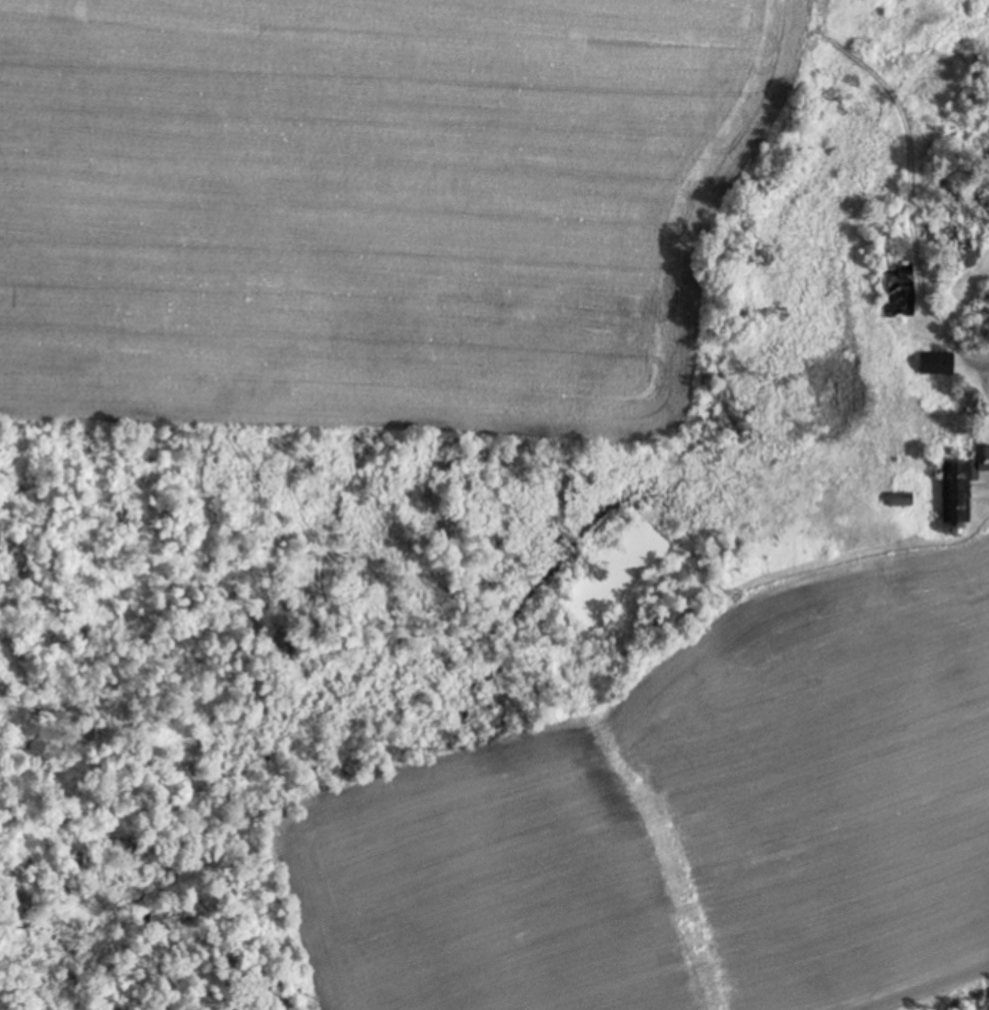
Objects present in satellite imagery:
building: (911, 289)
building: (939, 363)
road: (976, 413)
building: (985, 452)
building: (963, 481)
building: (902, 498)

